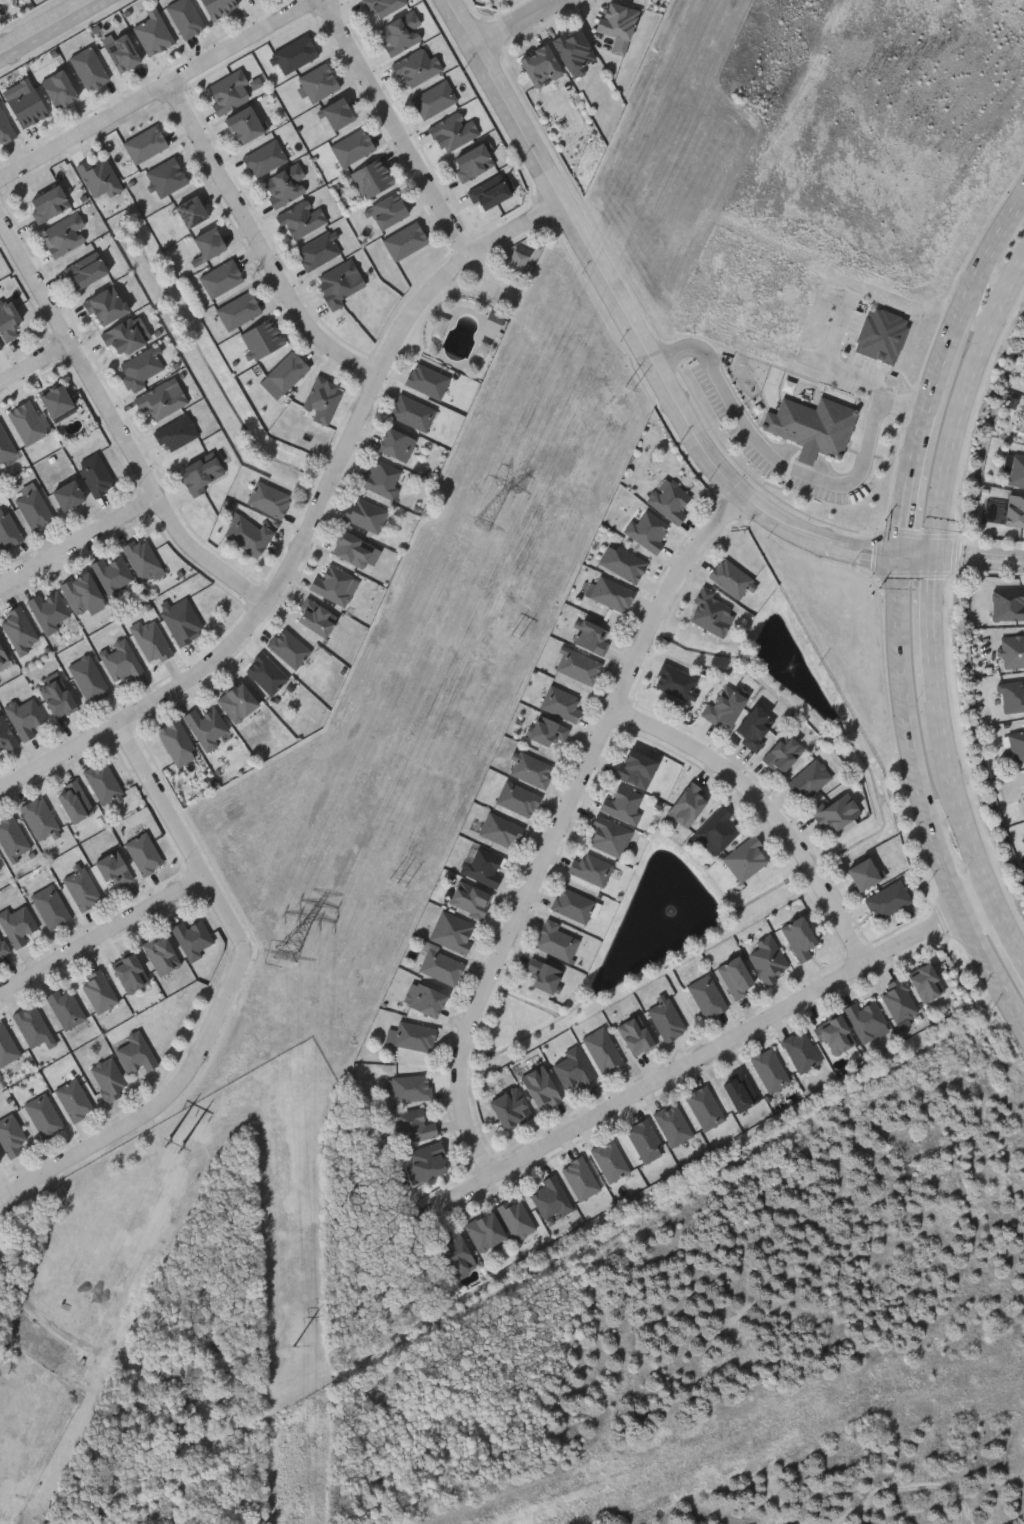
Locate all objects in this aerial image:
building: (248, 0)
building: (501, 0)
building: (383, 6)
building: (217, 7)
building: (185, 17)
road: (516, 23)
building: (617, 25)
road: (51, 29)
building: (400, 32)
building: (152, 33)
building: (575, 51)
building: (121, 53)
building: (295, 53)
building: (540, 65)
building: (417, 66)
building: (88, 68)
building: (318, 82)
building: (58, 89)
road: (159, 90)
building: (229, 91)
building: (434, 99)
building: (26, 106)
building: (337, 113)
power tower: (756, 114)
building: (244, 124)
building: (5, 127)
building: (452, 131)
building: (144, 144)
building: (352, 147)
road: (415, 156)
building: (265, 158)
building: (472, 161)
building: (99, 176)
building: (166, 177)
building: (372, 177)
building: (284, 185)
building: (489, 192)
building: (48, 204)
building: (387, 211)
building: (190, 212)
building: (300, 219)
building: (64, 235)
building: (405, 241)
building: (208, 243)
road: (259, 243)
building: (317, 251)
building: (86, 270)
building: (221, 278)
building: (338, 284)
building: (106, 305)
building: (238, 310)
road: (972, 311)
building: (8, 318)
building: (496, 322)
road: (633, 328)
building: (123, 337)
building: (261, 339)
building: (0, 347)
road: (36, 364)
building: (140, 368)
building: (286, 371)
building: (427, 380)
power tower: (628, 391)
building: (161, 399)
building: (322, 399)
building: (55, 400)
road: (960, 407)
building: (412, 412)
building: (26, 422)
road: (118, 423)
building: (812, 427)
building: (1023, 430)
building: (175, 433)
building: (395, 444)
building: (5, 445)
road: (789, 468)
building: (1014, 469)
building: (95, 474)
building: (200, 474)
building: (381, 478)
road: (916, 484)
building: (67, 495)
building: (268, 499)
building: (669, 499)
building: (34, 509)
building: (1014, 511)
building: (366, 514)
road: (313, 523)
power tower: (483, 528)
building: (648, 529)
building: (7, 531)
building: (247, 534)
road: (80, 542)
building: (352, 549)
traffic signals: (904, 555)
road: (919, 556)
traffic signals: (934, 557)
building: (143, 559)
road: (979, 559)
building: (623, 562)
building: (112, 575)
building: (731, 578)
building: (332, 584)
building: (81, 592)
building: (611, 593)
building: (1007, 604)
building: (50, 611)
building: (711, 611)
building: (316, 618)
building: (181, 620)
road: (929, 628)
building: (18, 630)
building: (590, 637)
building: (151, 641)
power tower: (515, 641)
building: (288, 647)
building: (1012, 650)
building: (3, 657)
building: (120, 661)
building: (578, 665)
building: (266, 673)
building: (87, 678)
building: (675, 681)
building: (1012, 696)
building: (56, 697)
building: (237, 702)
building: (560, 702)
building: (724, 707)
building: (25, 716)
building: (754, 726)
building: (206, 727)
building: (546, 730)
building: (5, 736)
building: (177, 742)
building: (1016, 743)
building: (783, 753)
building: (531, 768)
building: (636, 768)
building: (810, 778)
building: (103, 782)
building: (1022, 788)
road: (929, 797)
building: (517, 798)
building: (74, 802)
building: (623, 803)
road: (953, 803)
building: (687, 804)
road: (768, 808)
building: (835, 810)
building: (39, 818)
road: (561, 825)
building: (500, 829)
building: (718, 830)
road: (182, 835)
building: (609, 836)
building: (11, 837)
building: (143, 853)
building: (745, 858)
building: (482, 866)
building: (113, 868)
building: (590, 868)
building: (0, 870)
building: (863, 873)
power tower: (396, 883)
building: (81, 888)
building: (470, 899)
building: (887, 899)
building: (573, 904)
building: (50, 906)
building: (17, 924)
building: (452, 931)
road: (1008, 932)
road: (103, 934)
building: (799, 936)
building: (191, 937)
building: (555, 940)
building: (2, 950)
building: (161, 954)
power tower: (285, 955)
building: (768, 958)
building: (441, 966)
building: (129, 972)
building: (542, 973)
building: (735, 975)
building: (925, 981)
building: (98, 991)
building: (707, 996)
building: (423, 999)
building: (899, 999)
building: (65, 1007)
building: (666, 1018)
building: (866, 1019)
building: (31, 1024)
building: (635, 1034)
building: (835, 1034)
building: (414, 1035)
building: (6, 1045)
building: (603, 1050)
building: (801, 1050)
building: (135, 1052)
road: (704, 1055)
building: (573, 1067)
building: (770, 1069)
building: (108, 1078)
building: (540, 1086)
building: (410, 1087)
building: (739, 1089)
building: (74, 1099)
road: (159, 1107)
building: (509, 1107)
building: (704, 1107)
building: (43, 1116)
building: (672, 1124)
building: (413, 1125)
building: (11, 1135)
building: (644, 1140)
power tower: (178, 1148)
building: (426, 1160)
building: (610, 1160)
building: (0, 1164)
building: (580, 1177)
building: (550, 1197)
building: (516, 1217)
building: (484, 1230)
building: (455, 1253)
power tower: (295, 1346)
park: (838, 1469)

